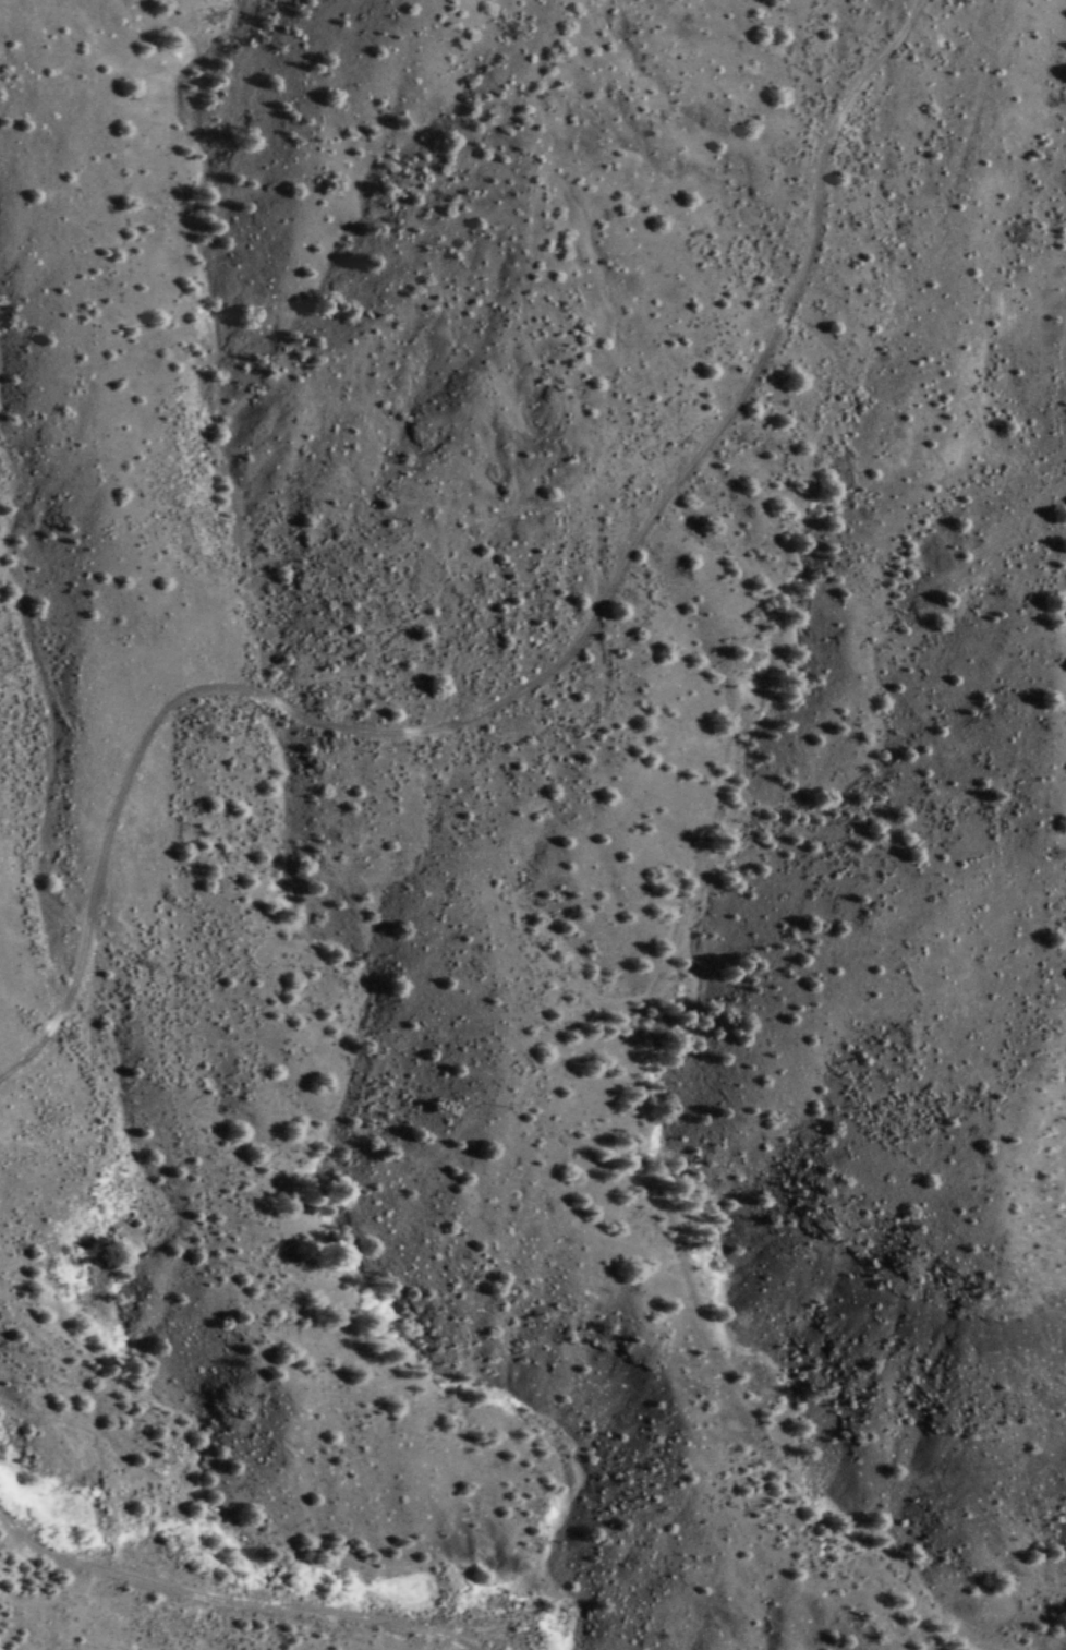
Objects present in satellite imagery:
road: (531, 649)
road: (225, 1607)

